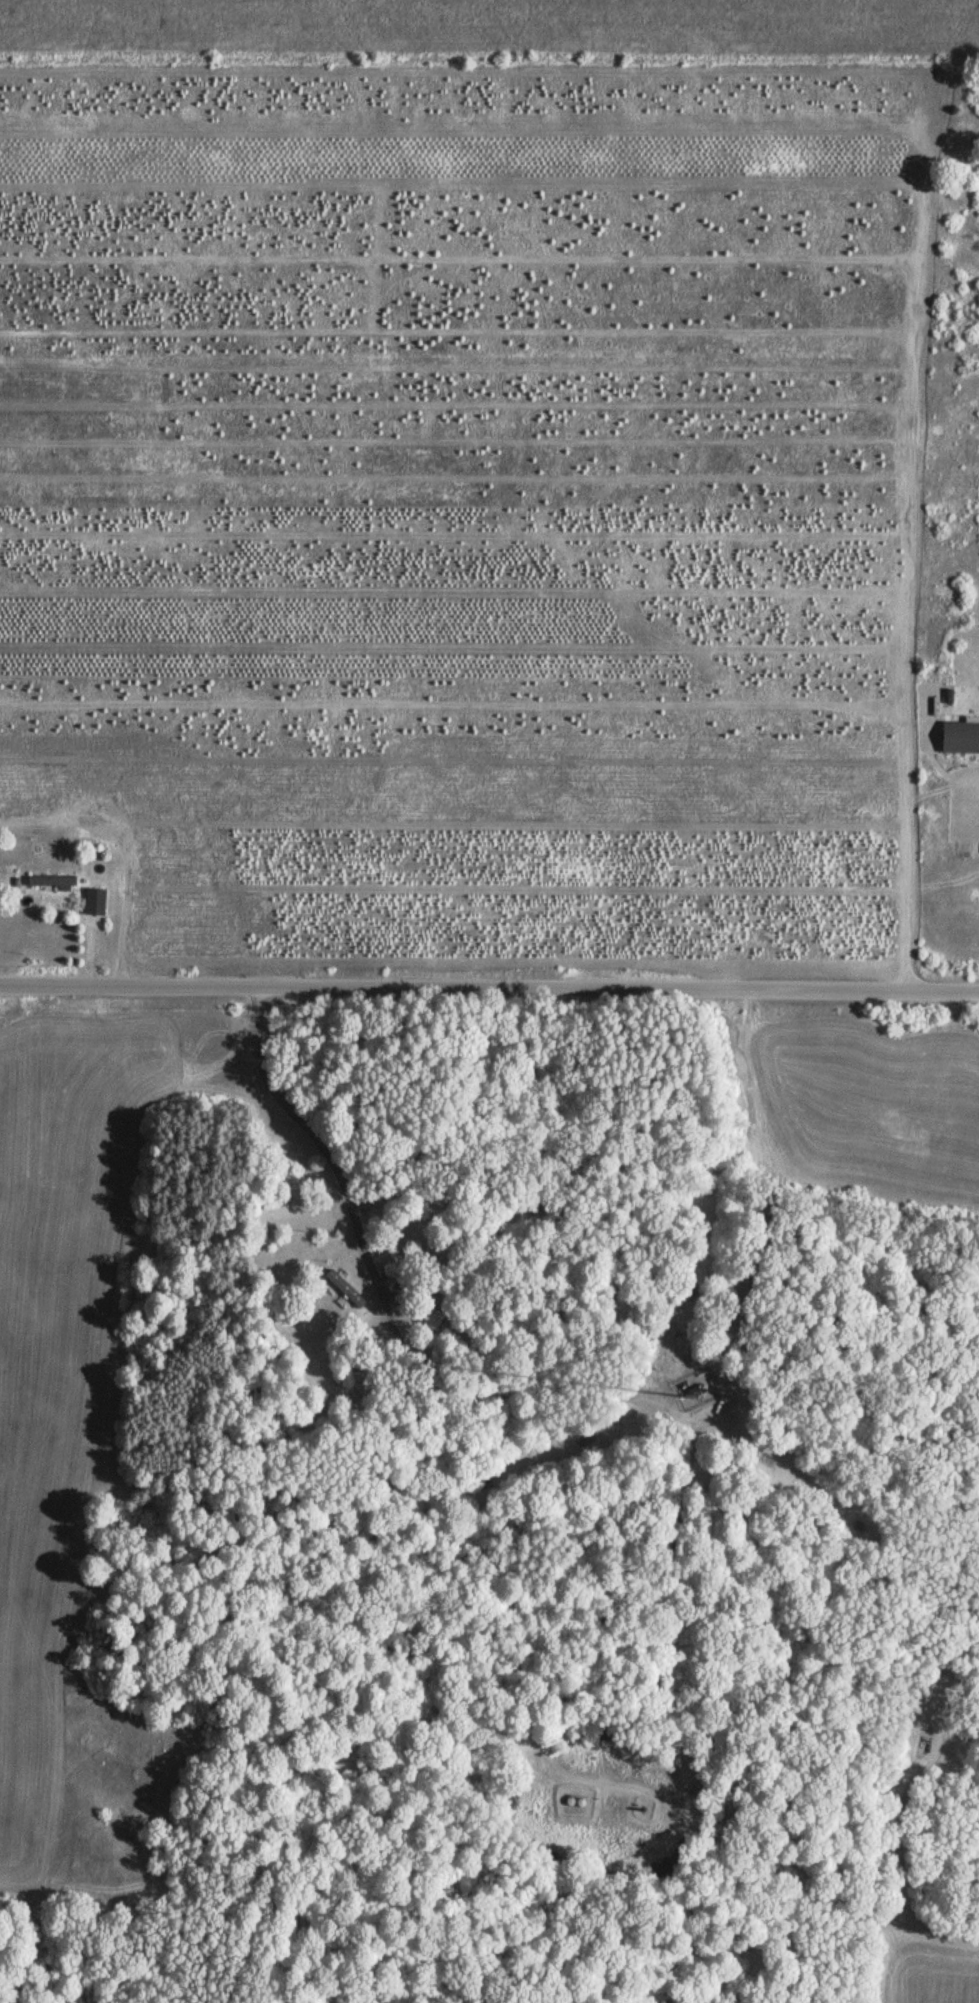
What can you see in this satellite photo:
building: (959, 739)
building: (52, 883)
building: (94, 903)
road: (489, 989)
road: (320, 1143)
building: (344, 1291)
building: (434, 1320)

